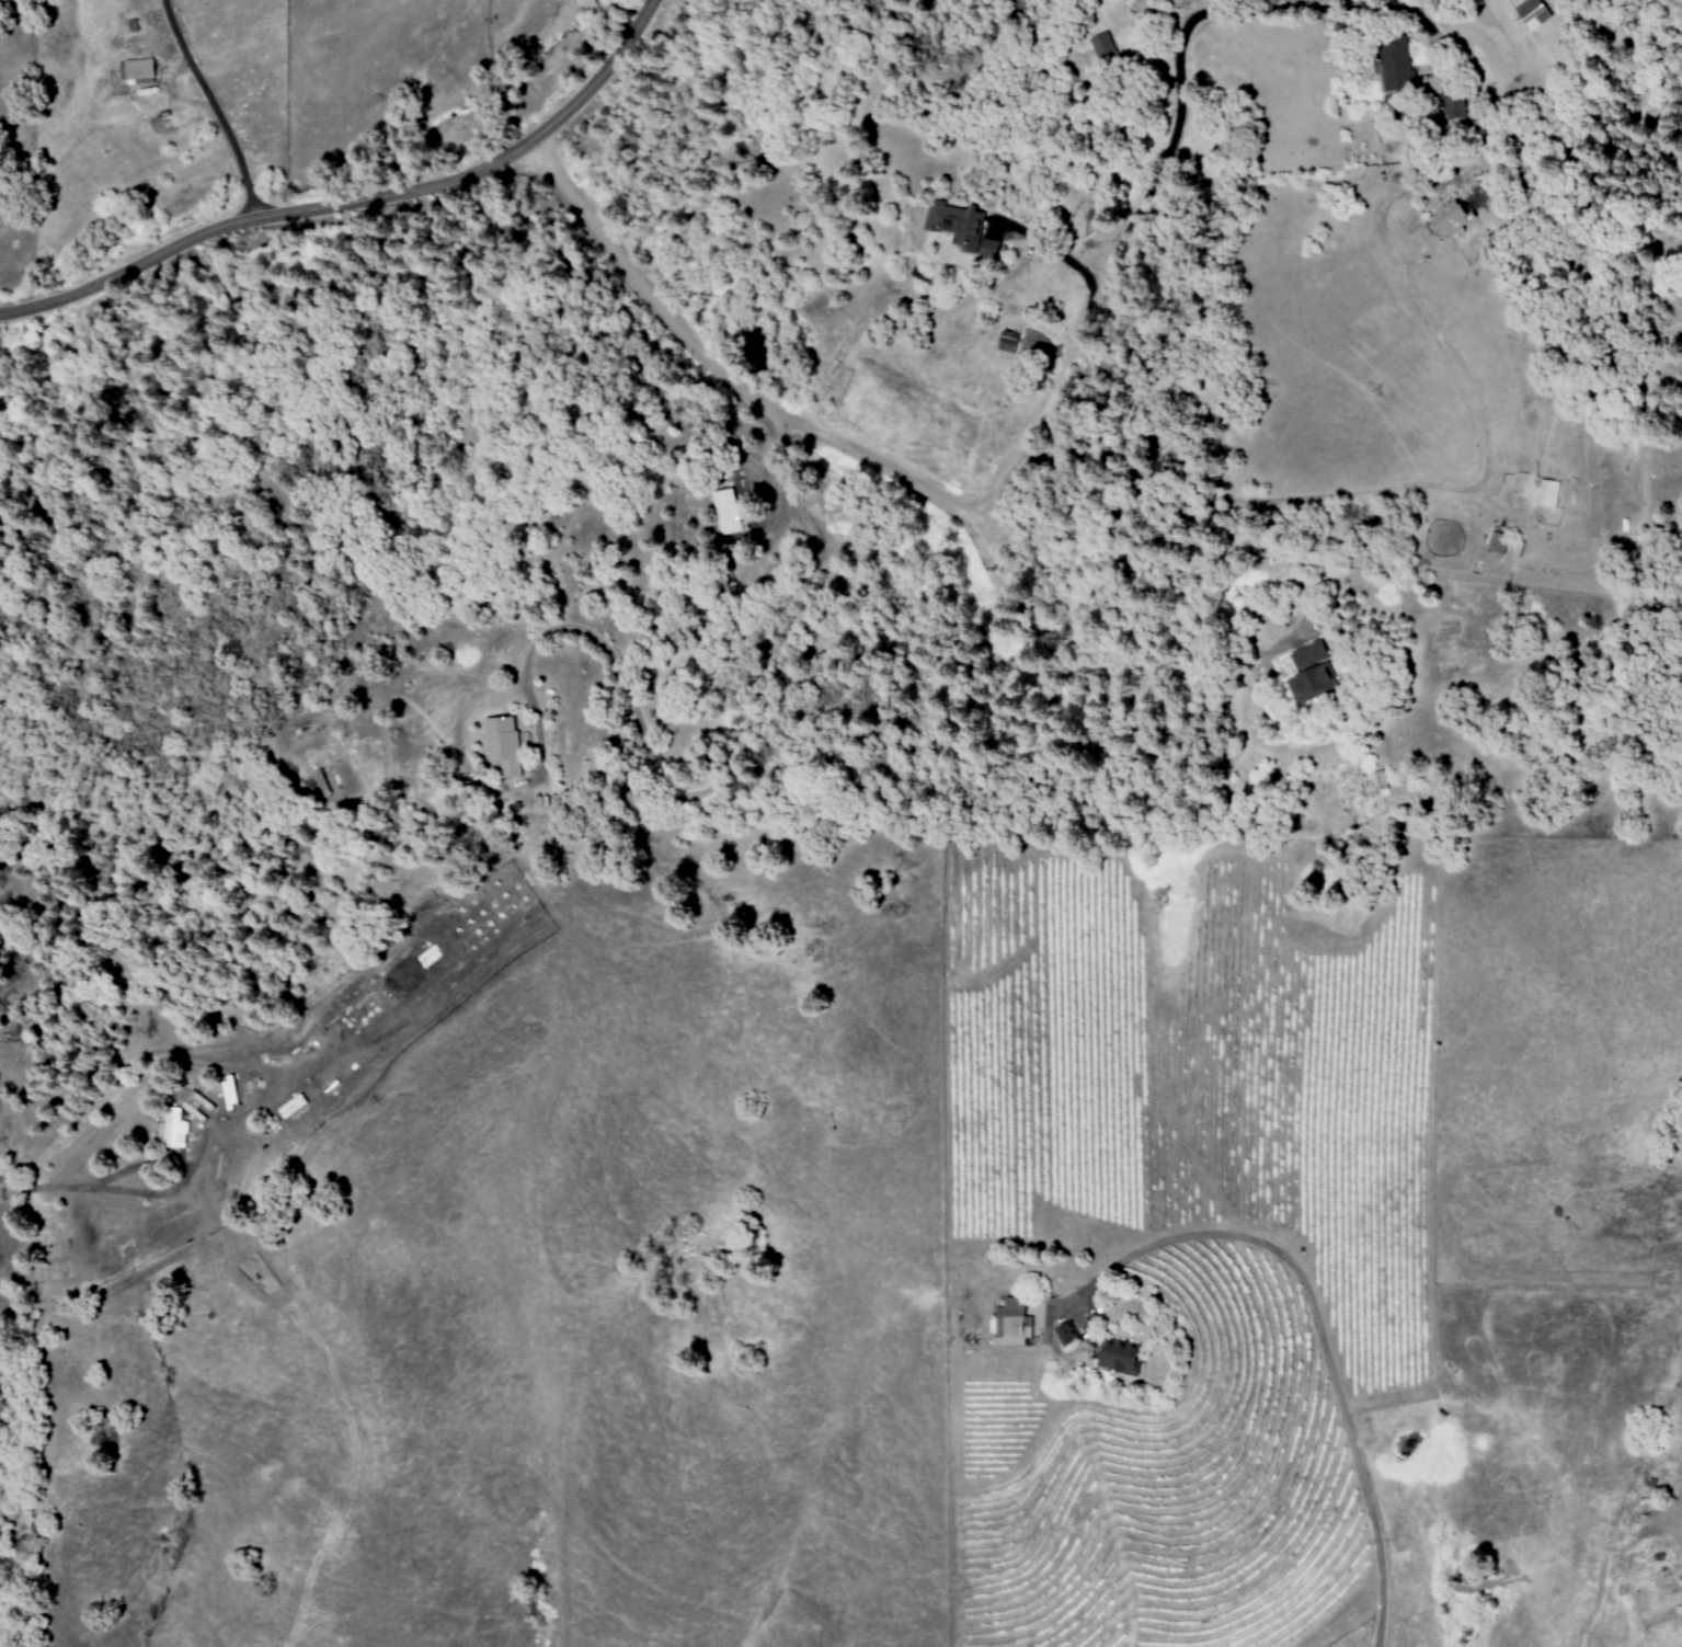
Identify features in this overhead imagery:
building: (1531, 13)
building: (1101, 48)
building: (1394, 66)
building: (135, 71)
road: (211, 108)
building: (1452, 111)
road: (1165, 156)
road: (355, 203)
building: (1446, 220)
building: (917, 226)
building: (960, 228)
road: (716, 367)
road: (1401, 485)
building: (1546, 493)
building: (725, 512)
building: (1309, 673)
road: (1128, 721)
building: (499, 743)
building: (1380, 780)
building: (286, 1106)
building: (164, 1129)
crop: (1194, 1225)
building: (1009, 1324)
road: (1313, 1324)
road: (1680, 1348)
building: (1117, 1354)

